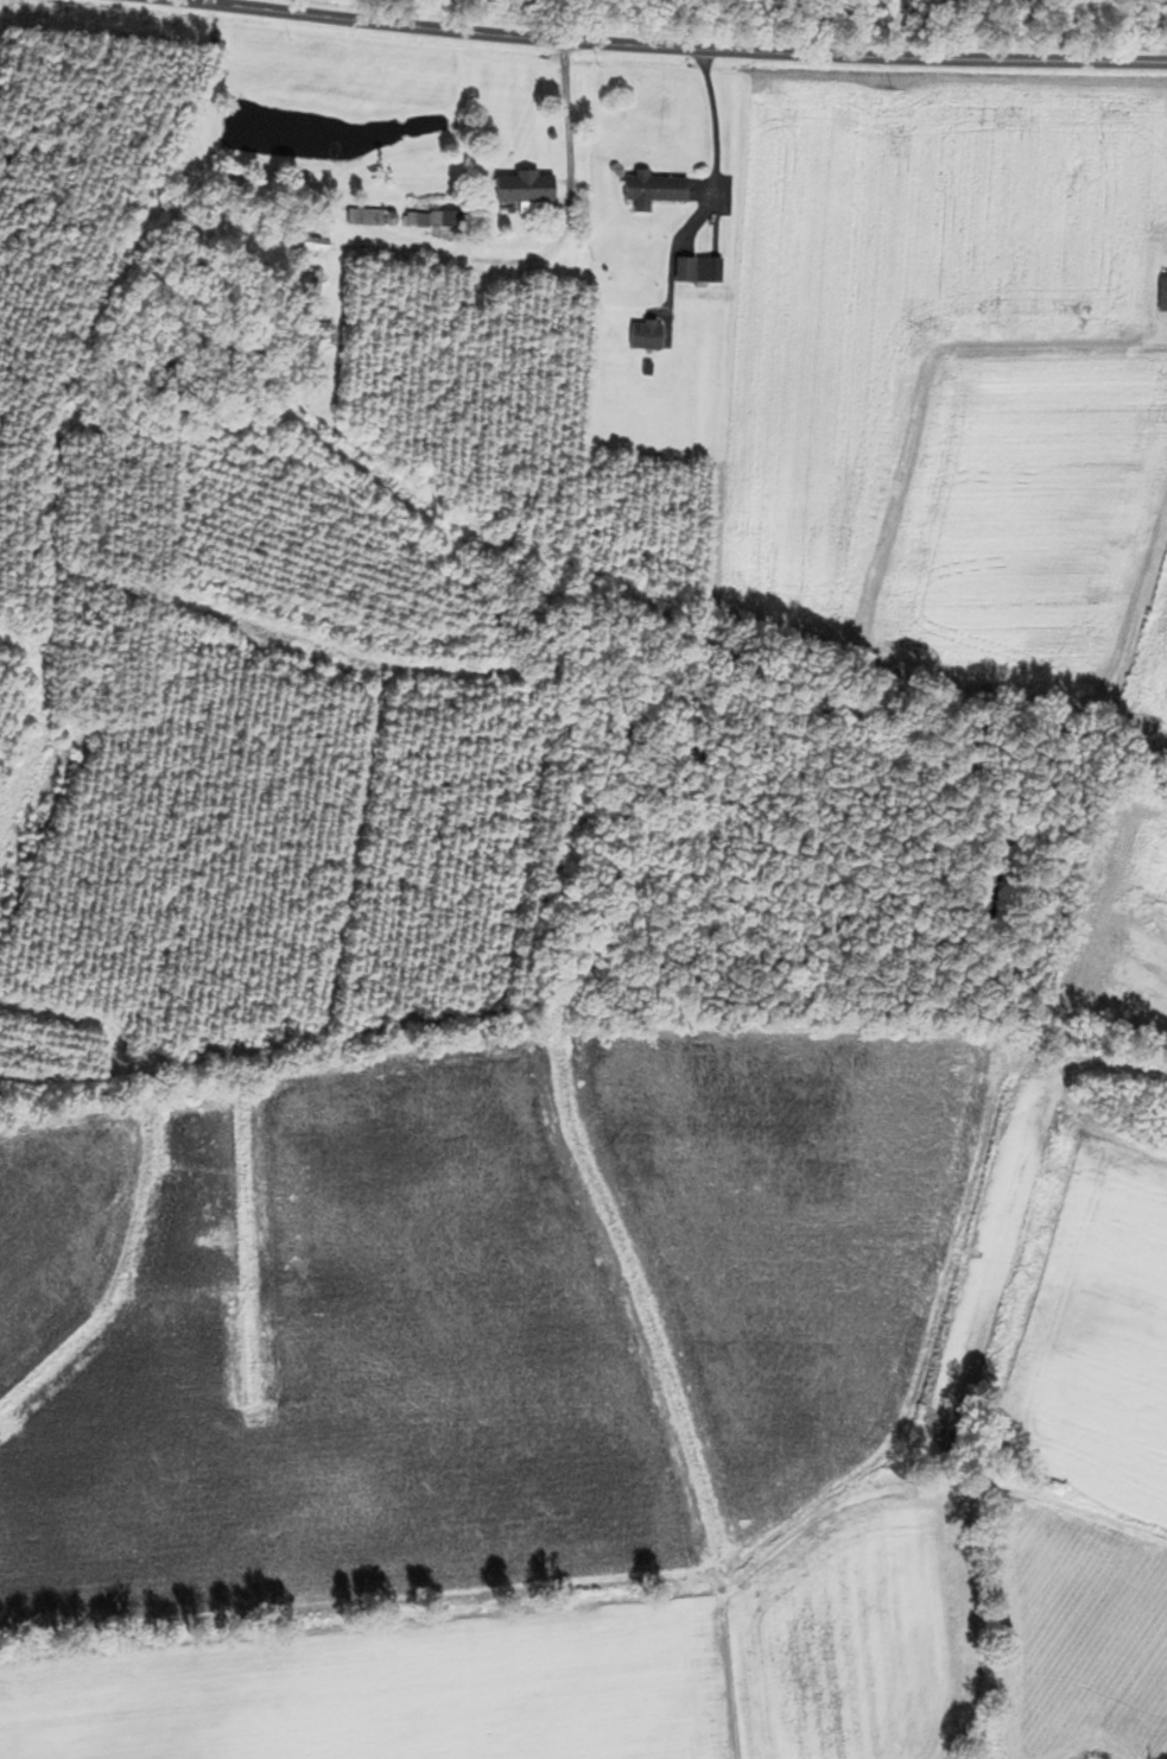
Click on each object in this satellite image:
road: (671, 46)
road: (715, 151)
building: (526, 188)
building: (653, 190)
building: (363, 217)
building: (435, 221)
road: (554, 236)
building: (310, 243)
building: (696, 268)
building: (1161, 292)
building: (647, 335)

